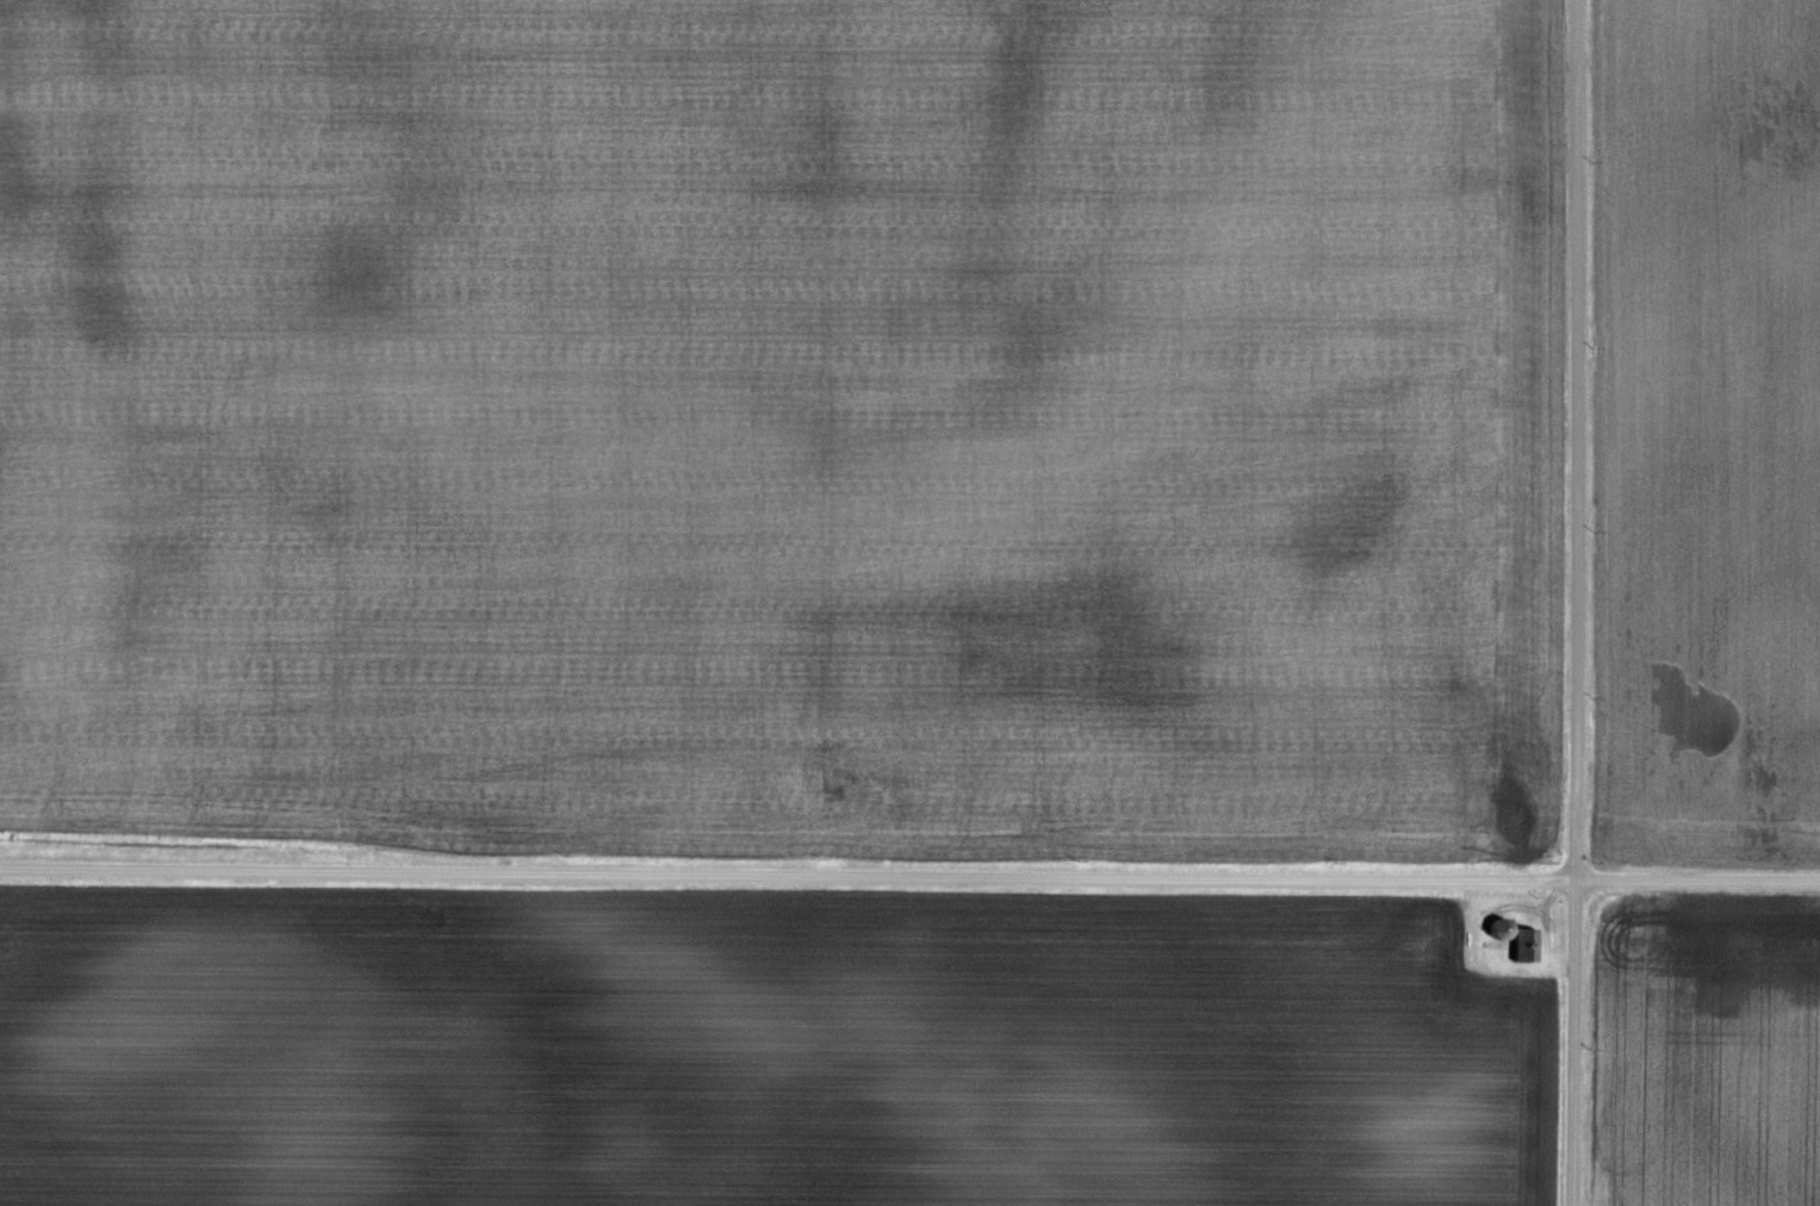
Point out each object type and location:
road: (1570, 441)
road: (909, 877)
road: (1571, 1044)

